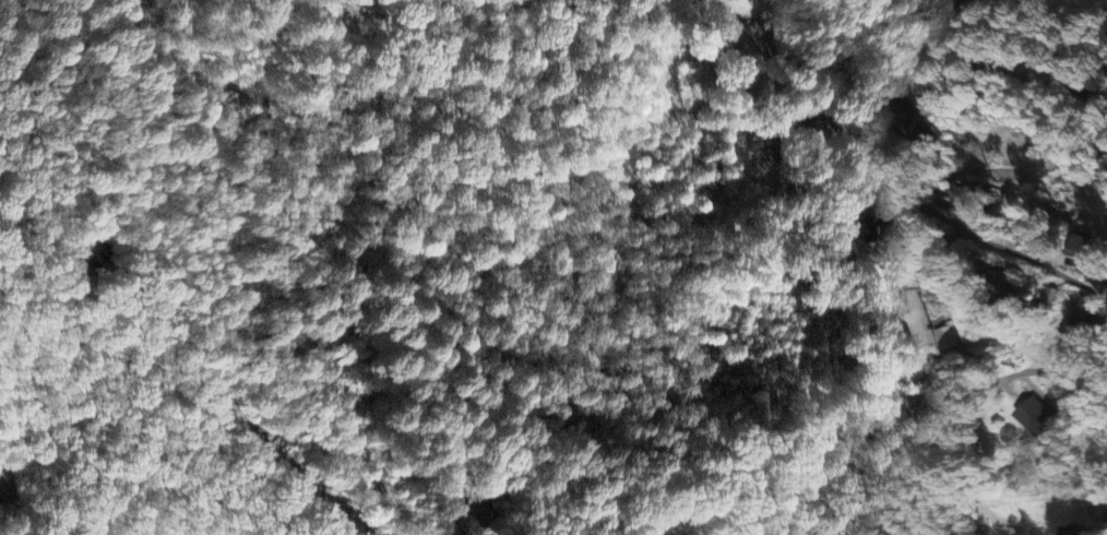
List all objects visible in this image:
building: (949, 10)
building: (725, 48)
road: (904, 190)
building: (965, 197)
building: (864, 225)
road: (596, 257)
building: (1002, 288)
building: (916, 321)
building: (1090, 321)
building: (947, 340)
road: (1104, 412)
building: (1036, 419)
building: (8, 485)
road: (449, 508)
building: (483, 511)
road: (1105, 523)

